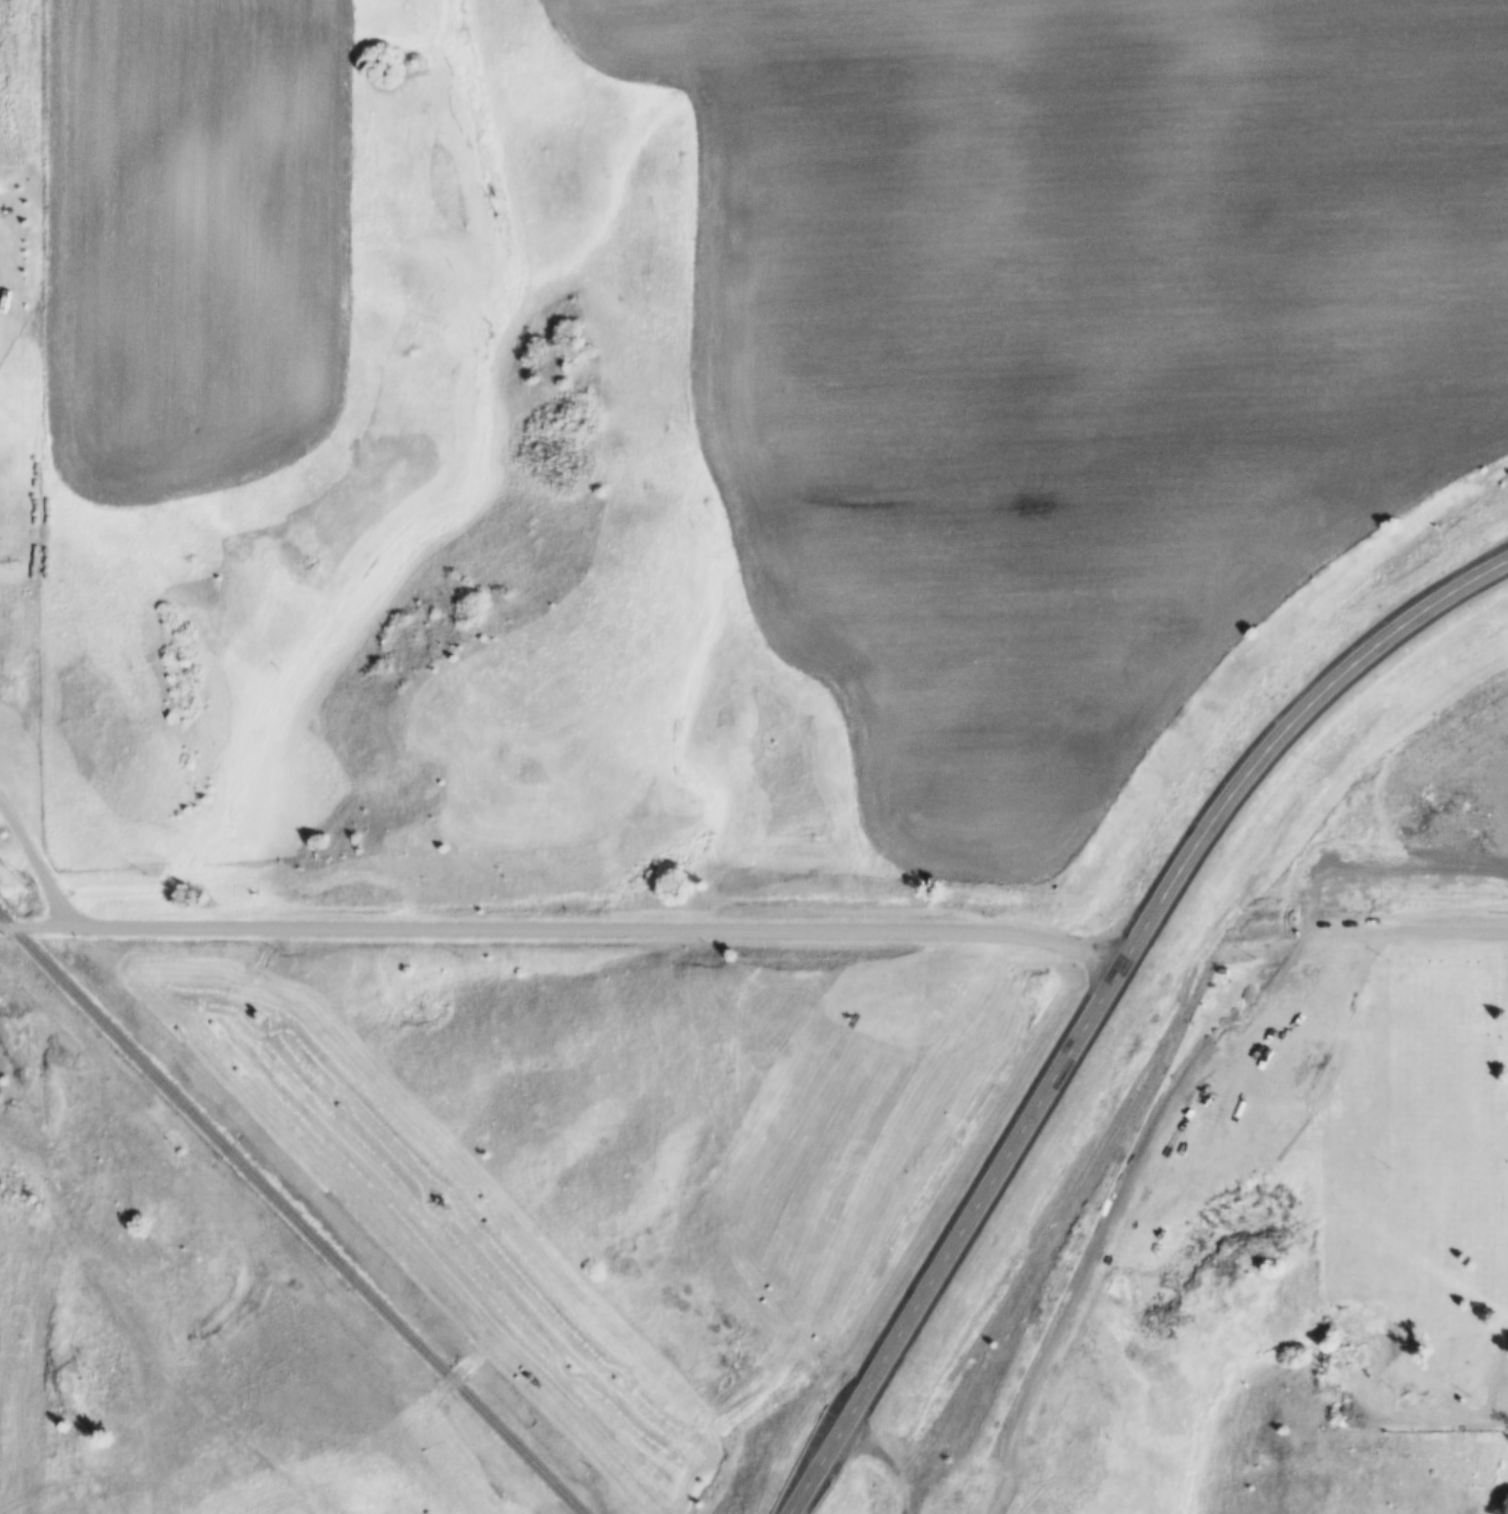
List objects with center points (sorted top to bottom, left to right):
road: (4, 283)
road: (37, 861)
road: (34, 924)
road: (599, 929)
road: (1421, 930)
road: (1104, 995)
park: (1422, 1186)
railway: (292, 1212)
road: (404, 1226)
road: (457, 1377)
road: (1496, 1384)
road: (1396, 1415)
road: (890, 1459)

